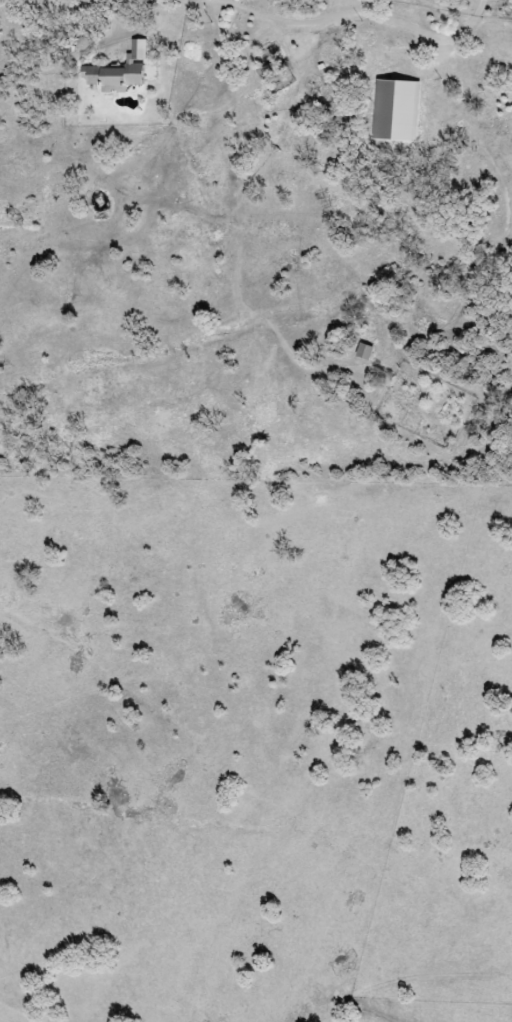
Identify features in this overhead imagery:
road: (350, 16)
building: (109, 76)
building: (379, 96)
building: (361, 352)

